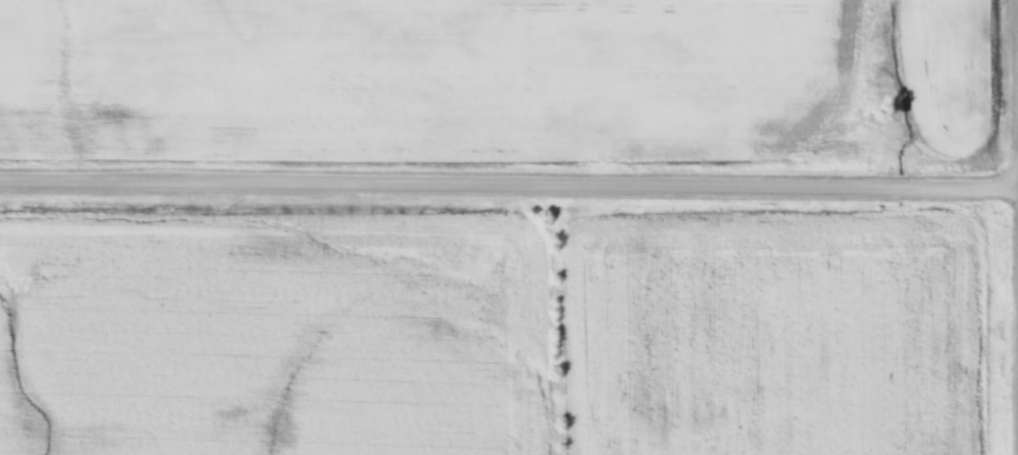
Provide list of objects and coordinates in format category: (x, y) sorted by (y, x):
road: (509, 189)

